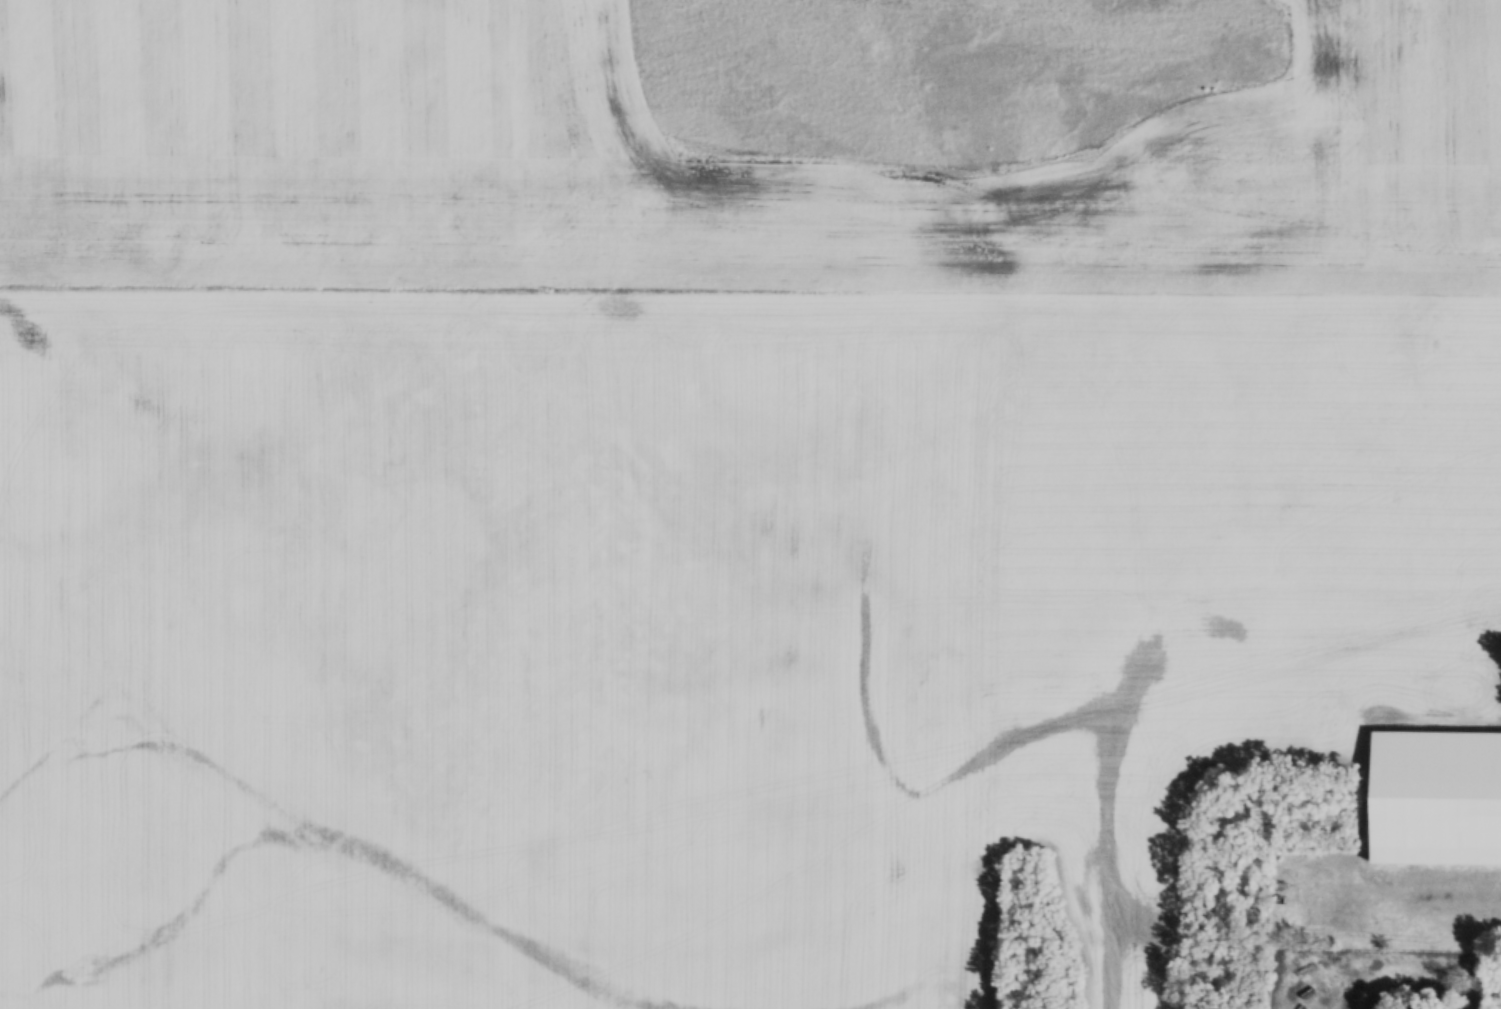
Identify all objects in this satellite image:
building: (1442, 799)

